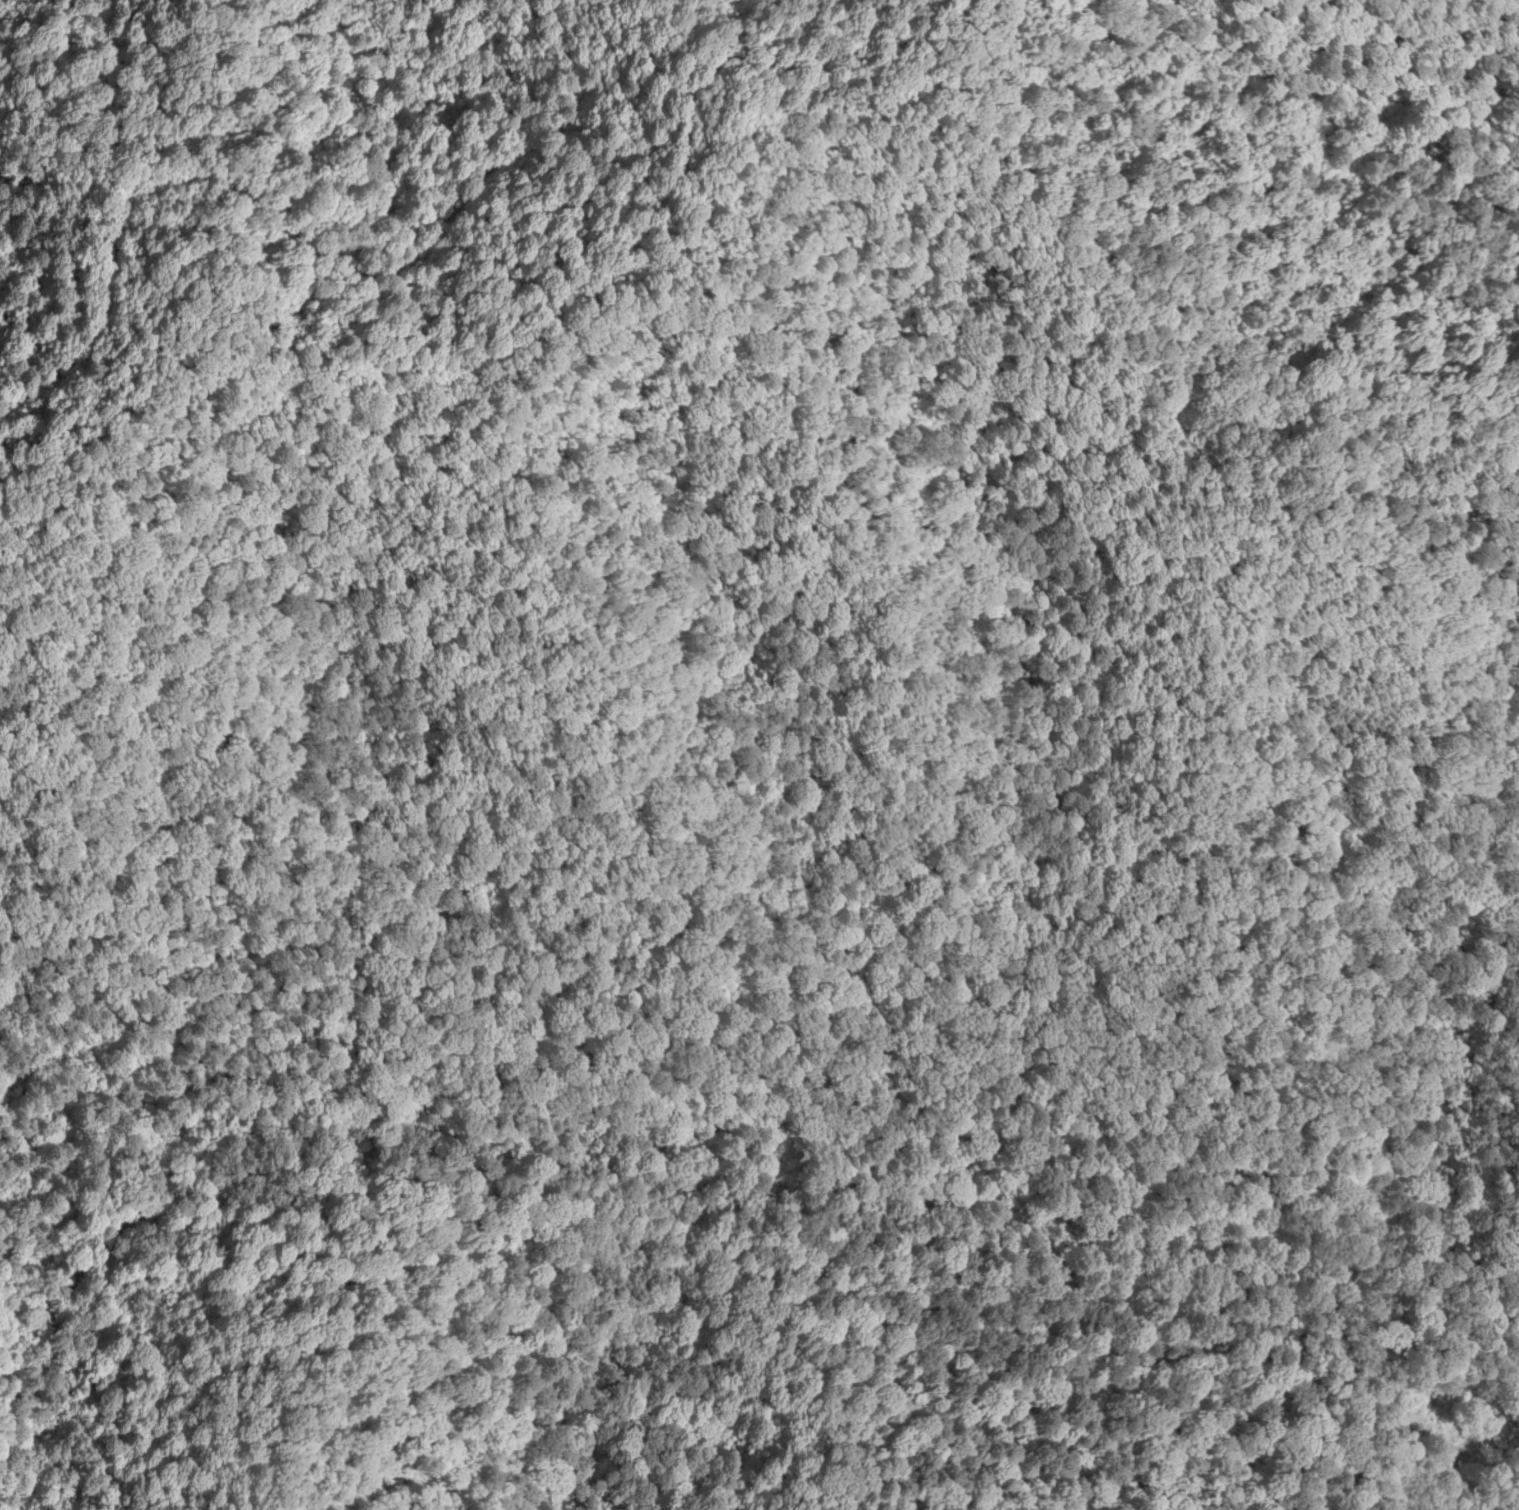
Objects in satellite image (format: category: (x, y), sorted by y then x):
road: (852, 1068)

